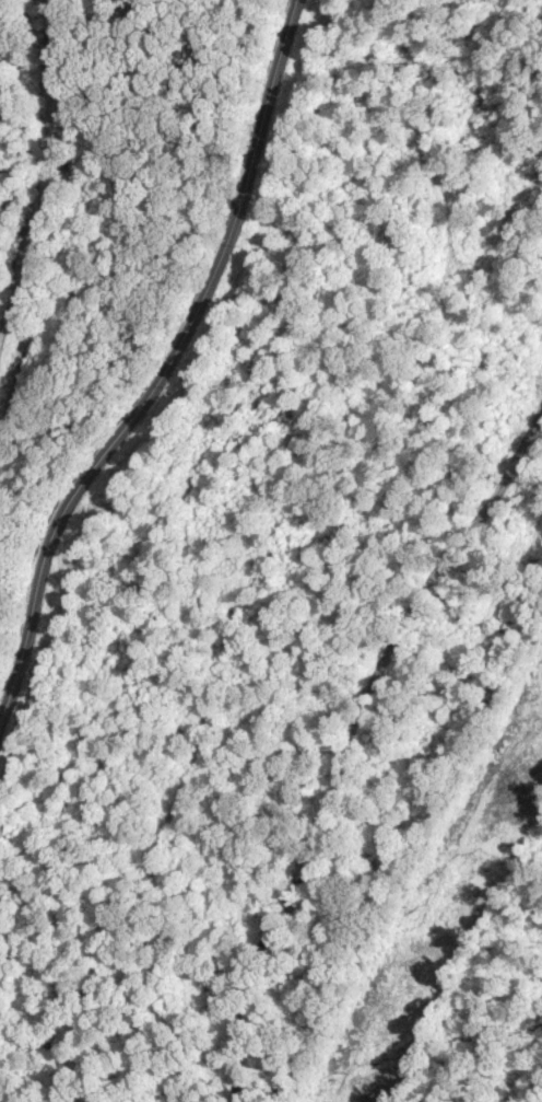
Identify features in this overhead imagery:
road: (191, 98)
road: (152, 325)
road: (327, 611)

